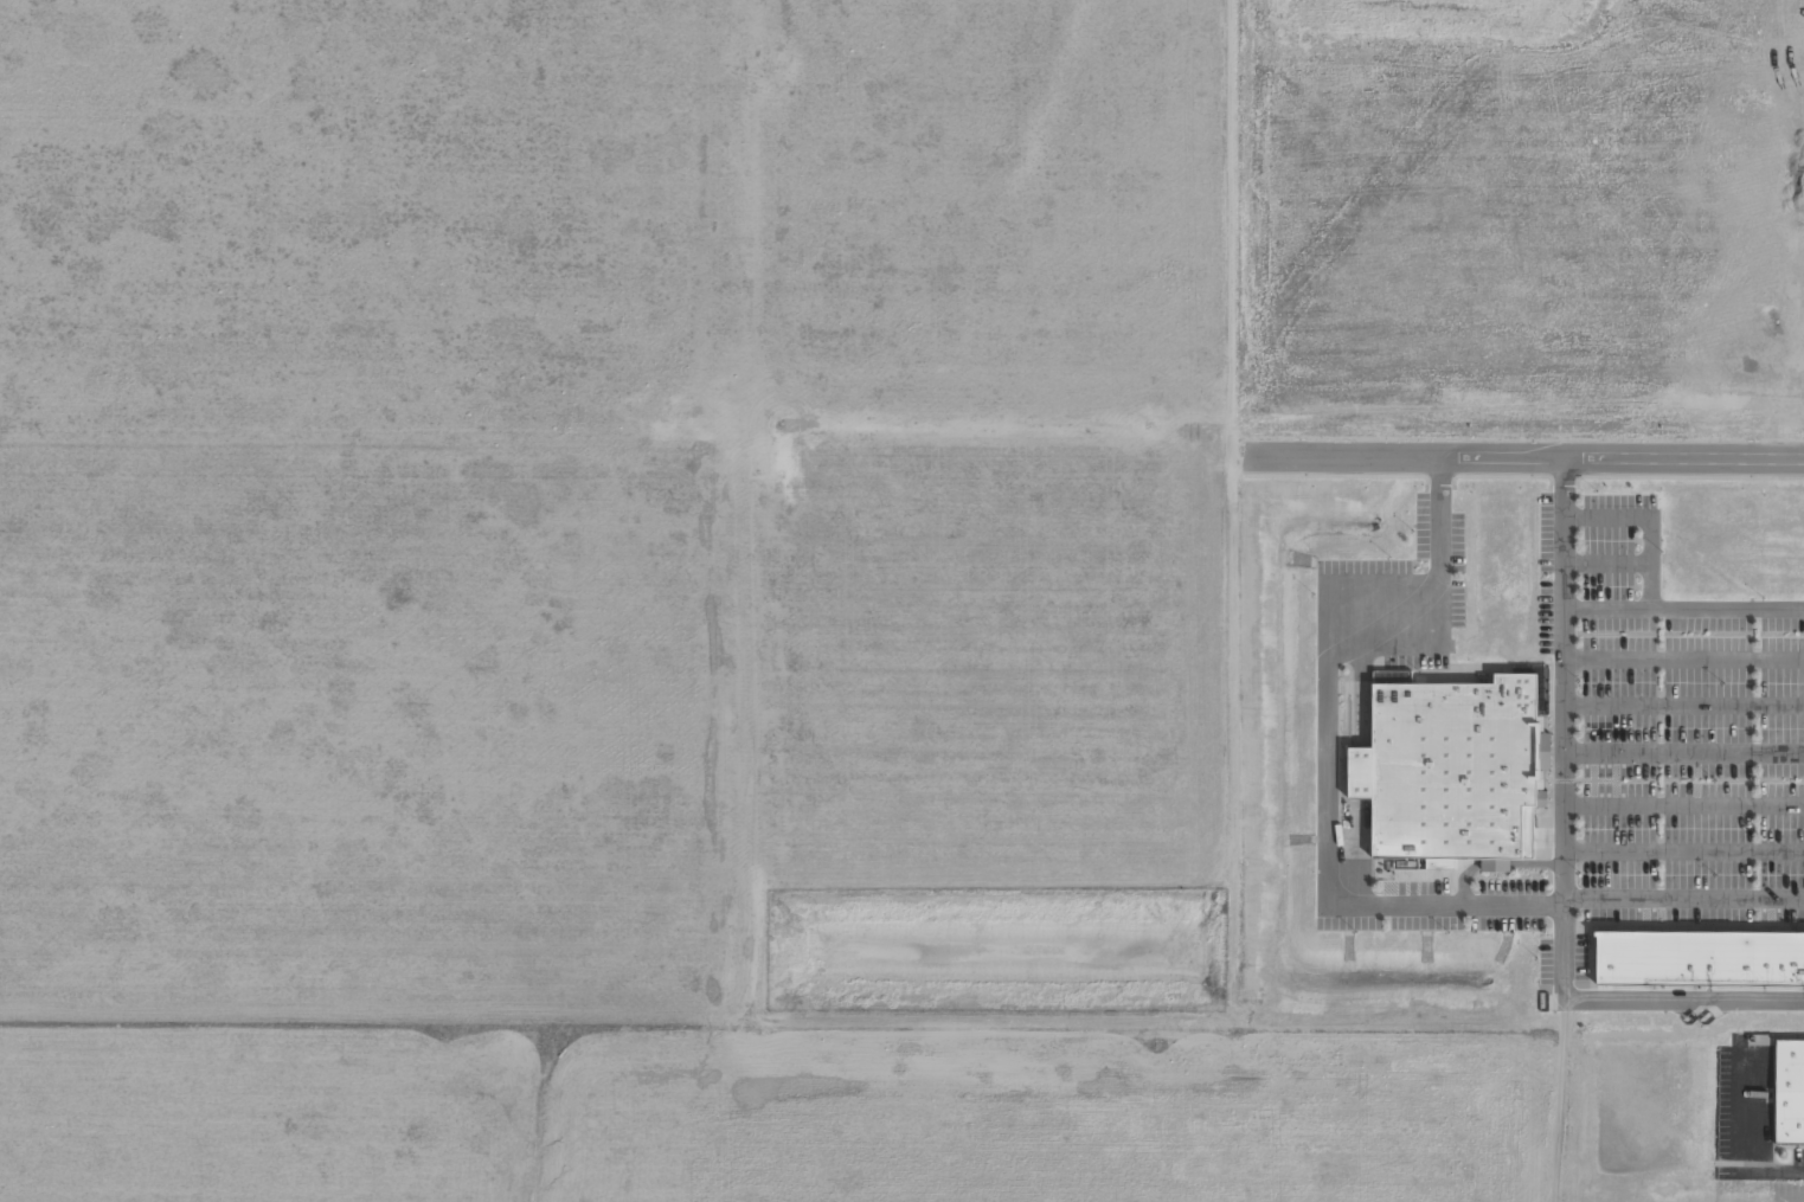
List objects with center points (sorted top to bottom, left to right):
road: (1526, 456)
building: (1446, 773)
building: (1700, 958)
building: (1789, 1092)

